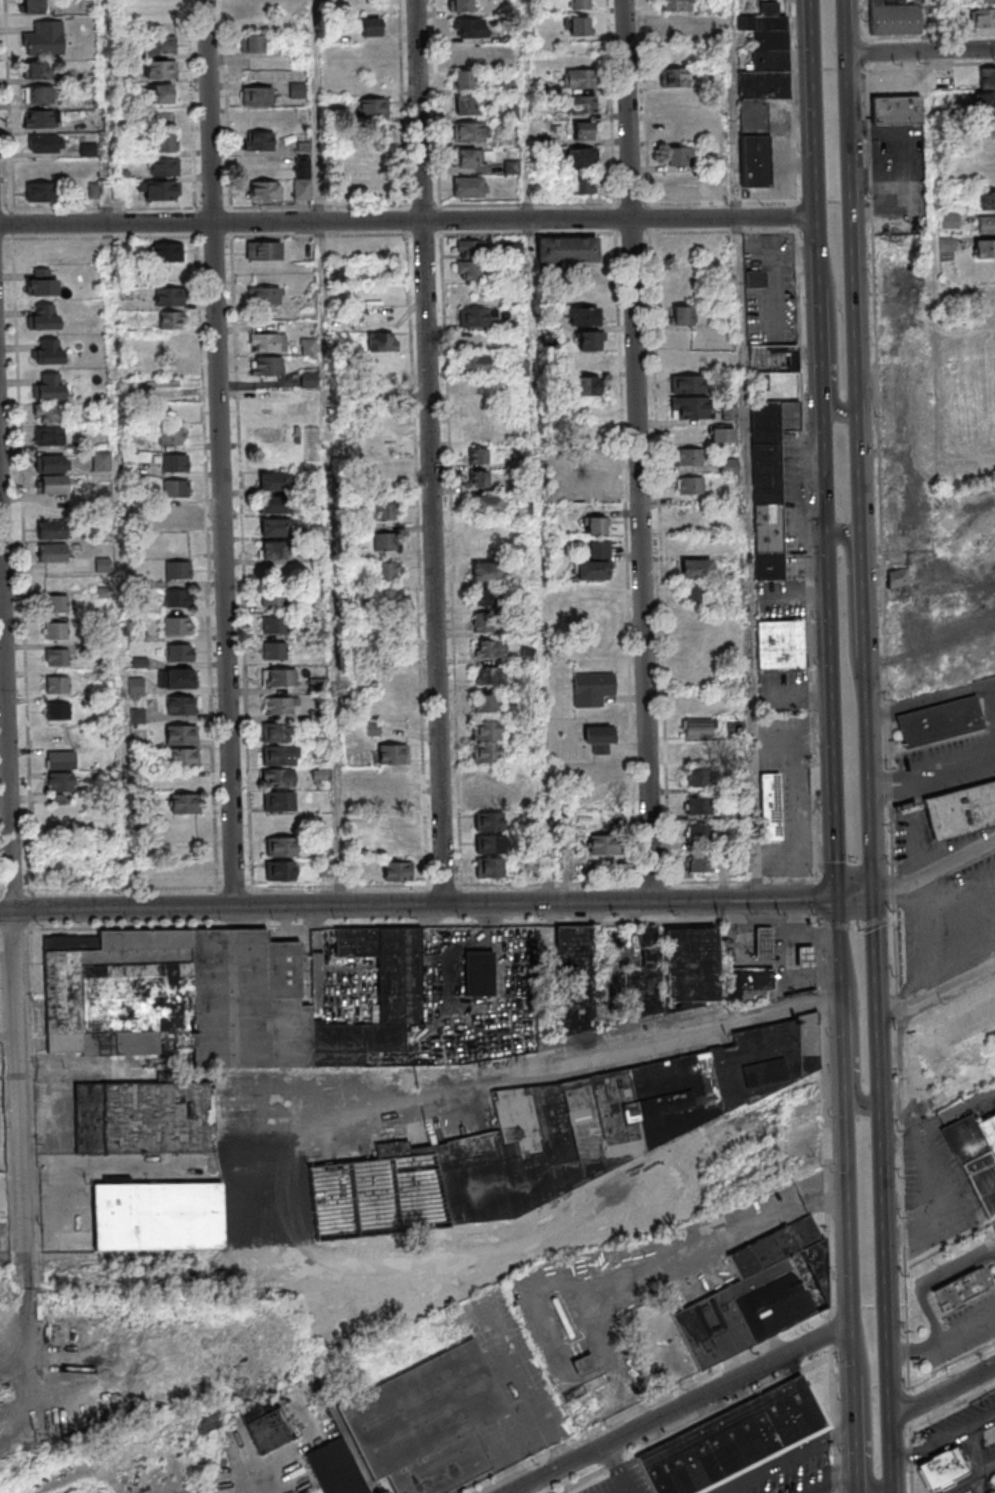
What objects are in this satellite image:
building: (985, 1)
building: (578, 4)
building: (254, 5)
building: (460, 5)
building: (675, 5)
building: (155, 6)
building: (32, 7)
building: (982, 17)
building: (893, 18)
road: (866, 20)
building: (576, 25)
building: (674, 25)
building: (371, 27)
building: (472, 28)
road: (813, 29)
building: (44, 38)
building: (251, 42)
building: (163, 46)
road: (921, 52)
road: (867, 53)
building: (473, 55)
road: (931, 62)
building: (37, 69)
building: (164, 71)
building: (673, 77)
building: (578, 78)
building: (986, 78)
building: (462, 79)
building: (760, 87)
building: (297, 90)
building: (161, 93)
building: (38, 94)
building: (260, 96)
building: (984, 100)
road: (10, 105)
building: (581, 105)
building: (466, 106)
building: (373, 108)
building: (897, 109)
building: (43, 118)
building: (985, 125)
building: (583, 130)
building: (471, 133)
building: (165, 142)
building: (261, 142)
building: (46, 143)
building: (580, 157)
building: (677, 157)
building: (468, 160)
building: (167, 167)
road: (818, 173)
building: (303, 178)
building: (581, 184)
building: (680, 185)
building: (470, 188)
building: (37, 191)
building: (267, 191)
building: (163, 192)
building: (987, 200)
road: (852, 206)
road: (105, 209)
road: (727, 218)
building: (950, 220)
road: (317, 222)
road: (198, 223)
road: (15, 224)
building: (986, 224)
road: (935, 237)
road: (107, 238)
road: (7, 239)
building: (946, 244)
building: (470, 248)
building: (984, 248)
building: (566, 249)
building: (168, 252)
building: (267, 252)
building: (468, 269)
building: (753, 279)
building: (45, 285)
building: (169, 296)
building: (267, 296)
building: (982, 297)
building: (680, 315)
building: (475, 316)
building: (581, 316)
building: (46, 319)
building: (171, 319)
road: (836, 332)
building: (587, 340)
building: (382, 341)
road: (824, 341)
building: (267, 344)
building: (308, 346)
building: (51, 353)
building: (772, 358)
building: (475, 363)
building: (584, 363)
building: (271, 367)
building: (308, 379)
building: (686, 383)
building: (586, 386)
building: (51, 389)
building: (690, 407)
building: (51, 415)
building: (721, 433)
building: (174, 437)
building: (52, 438)
road: (747, 449)
road: (641, 450)
road: (538, 451)
road: (433, 452)
road: (223, 453)
road: (329, 453)
road: (117, 454)
building: (478, 456)
building: (689, 456)
building: (101, 460)
road: (828, 463)
building: (177, 464)
building: (53, 465)
building: (728, 465)
building: (478, 478)
building: (594, 480)
building: (278, 483)
building: (690, 484)
building: (769, 484)
building: (56, 486)
building: (178, 490)
road: (861, 504)
building: (278, 506)
building: (489, 507)
building: (384, 510)
building: (176, 514)
building: (595, 525)
building: (279, 529)
building: (53, 531)
building: (385, 540)
road: (243, 545)
building: (276, 552)
building: (55, 554)
building: (594, 562)
road: (25, 564)
building: (102, 564)
building: (695, 568)
building: (180, 571)
building: (386, 571)
building: (489, 573)
building: (898, 578)
road: (209, 579)
building: (691, 592)
building: (386, 597)
building: (488, 598)
building: (179, 599)
building: (276, 599)
building: (59, 605)
road: (853, 611)
building: (485, 622)
building: (277, 627)
building: (179, 628)
building: (59, 632)
building: (390, 638)
building: (780, 644)
building: (493, 650)
road: (865, 651)
building: (277, 652)
building: (182, 654)
building: (60, 658)
building: (489, 675)
building: (281, 678)
building: (178, 681)
building: (317, 685)
building: (60, 686)
building: (592, 688)
road: (931, 699)
building: (487, 705)
building: (183, 707)
building: (282, 707)
building: (61, 712)
road: (835, 716)
building: (940, 722)
road: (888, 726)
building: (699, 728)
building: (488, 732)
building: (281, 734)
building: (184, 737)
building: (599, 738)
building: (699, 749)
road: (812, 749)
building: (391, 753)
building: (278, 755)
building: (488, 755)
building: (185, 760)
building: (63, 761)
road: (957, 766)
building: (278, 777)
building: (393, 778)
building: (702, 778)
road: (917, 779)
building: (58, 782)
building: (487, 798)
building: (392, 799)
building: (279, 801)
road: (871, 801)
building: (699, 805)
building: (188, 806)
building: (770, 806)
building: (961, 808)
building: (488, 821)
building: (394, 824)
building: (699, 833)
building: (490, 843)
building: (602, 844)
building: (281, 846)
building: (393, 847)
building: (701, 863)
building: (489, 867)
building: (280, 870)
building: (397, 870)
road: (935, 872)
road: (109, 889)
road: (857, 898)
traffic signals: (874, 898)
traffic signals: (841, 899)
road: (420, 906)
road: (14, 915)
road: (842, 944)
building: (766, 945)
building: (808, 960)
building: (690, 965)
building: (463, 966)
building: (750, 985)
road: (937, 992)
building: (219, 996)
road: (876, 1002)
building: (577, 1012)
road: (857, 1025)
building: (144, 1116)
building: (557, 1137)
building: (976, 1156)
building: (157, 1215)
road: (718, 1240)
road: (851, 1241)
road: (929, 1279)
building: (963, 1289)
building: (759, 1295)
road: (886, 1299)
road: (968, 1330)
road: (915, 1349)
road: (953, 1367)
road: (873, 1387)
road: (942, 1393)
road: (683, 1407)
road: (954, 1407)
road: (911, 1408)
road: (869, 1412)
building: (426, 1422)
building: (267, 1431)
road: (942, 1442)
building: (735, 1443)
road: (978, 1451)
road: (791, 1458)
road: (913, 1461)
building: (335, 1468)
road: (619, 1468)
building: (945, 1473)
road: (973, 1480)
road: (835, 1481)
road: (980, 1485)
road: (823, 1490)
road: (626, 1491)

